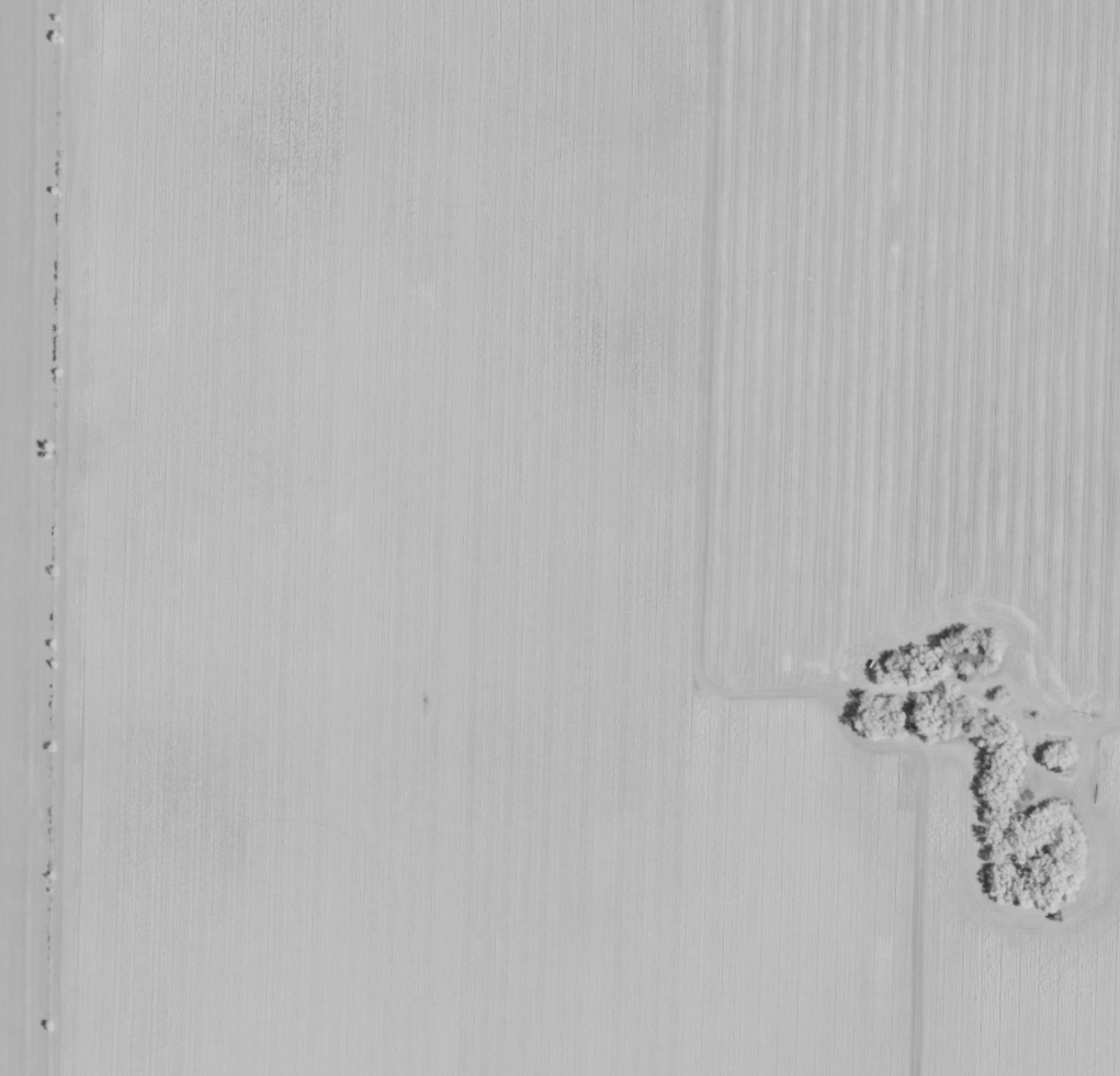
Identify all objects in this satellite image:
road: (694, 637)

